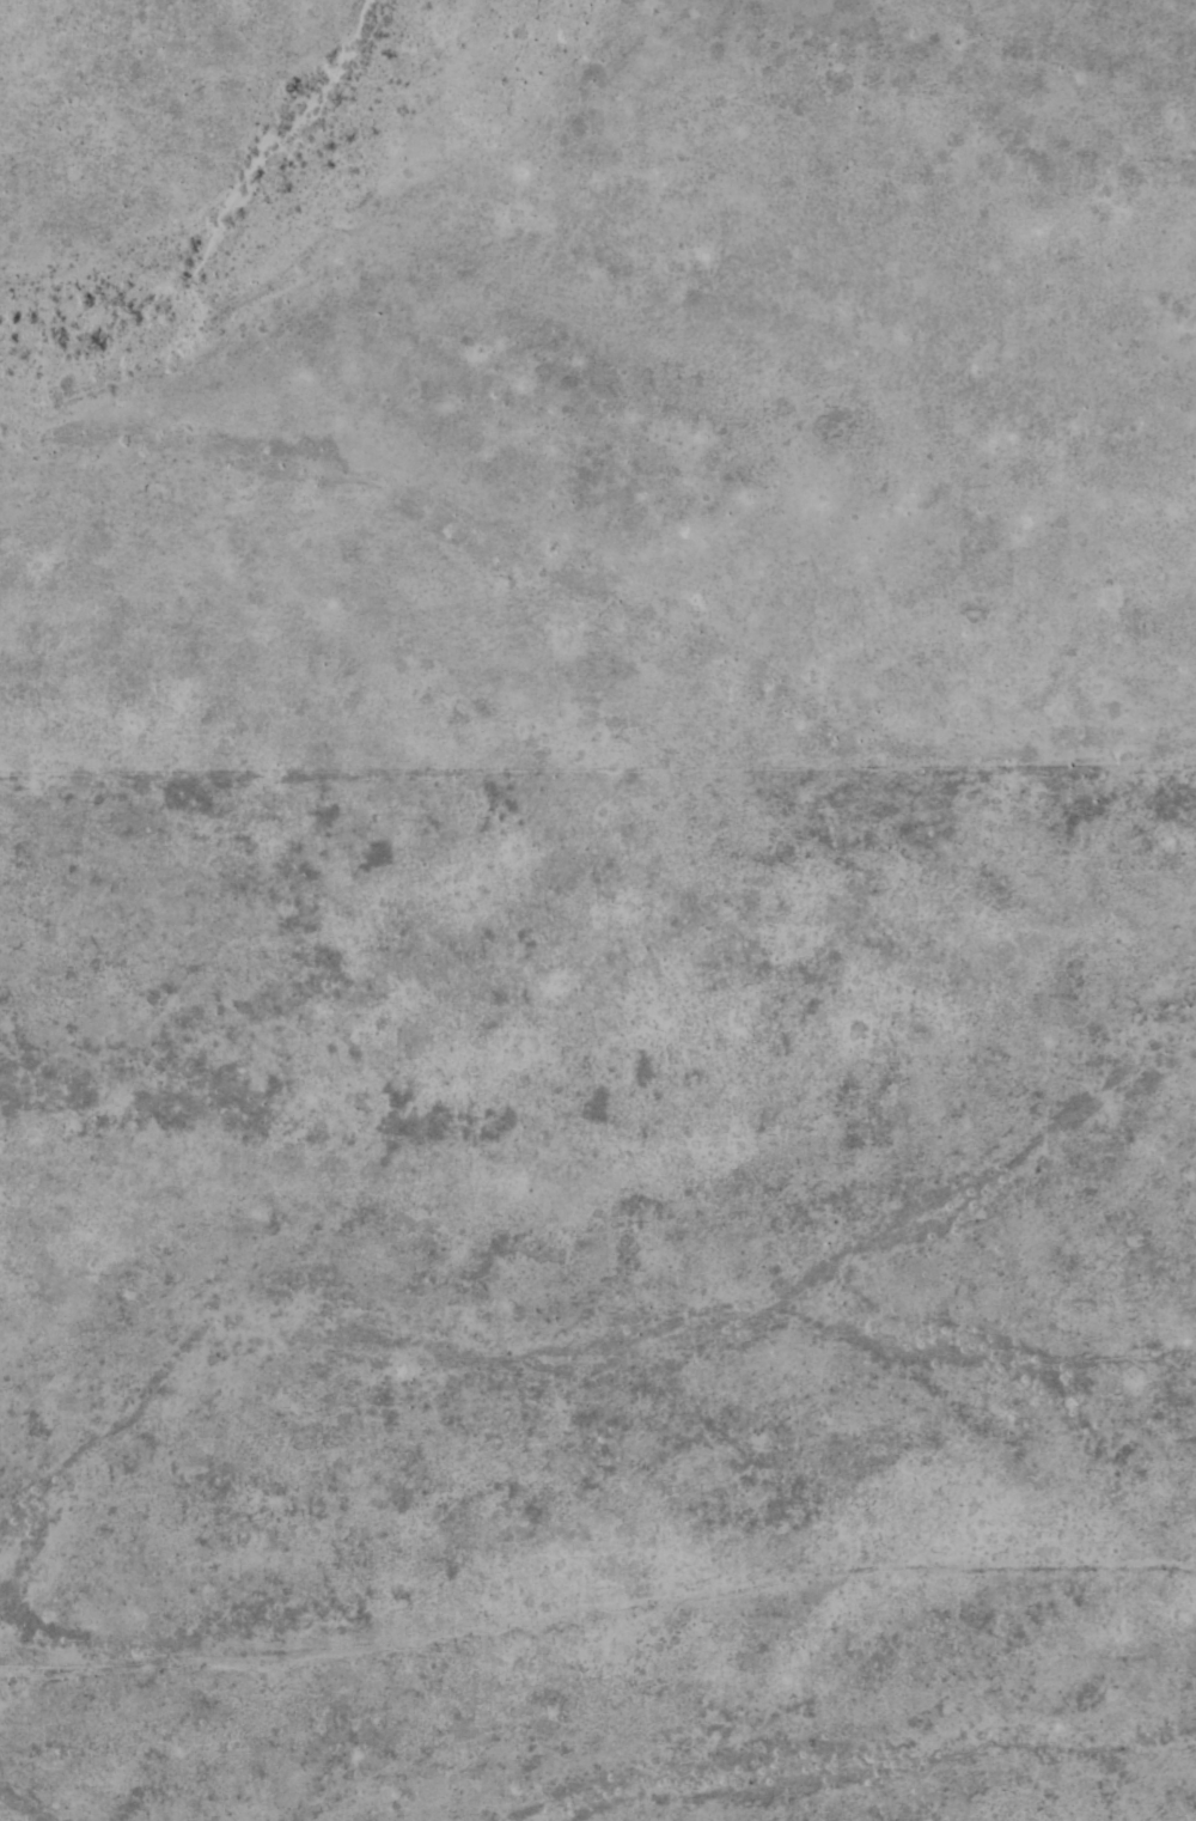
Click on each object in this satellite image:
road: (602, 1658)

